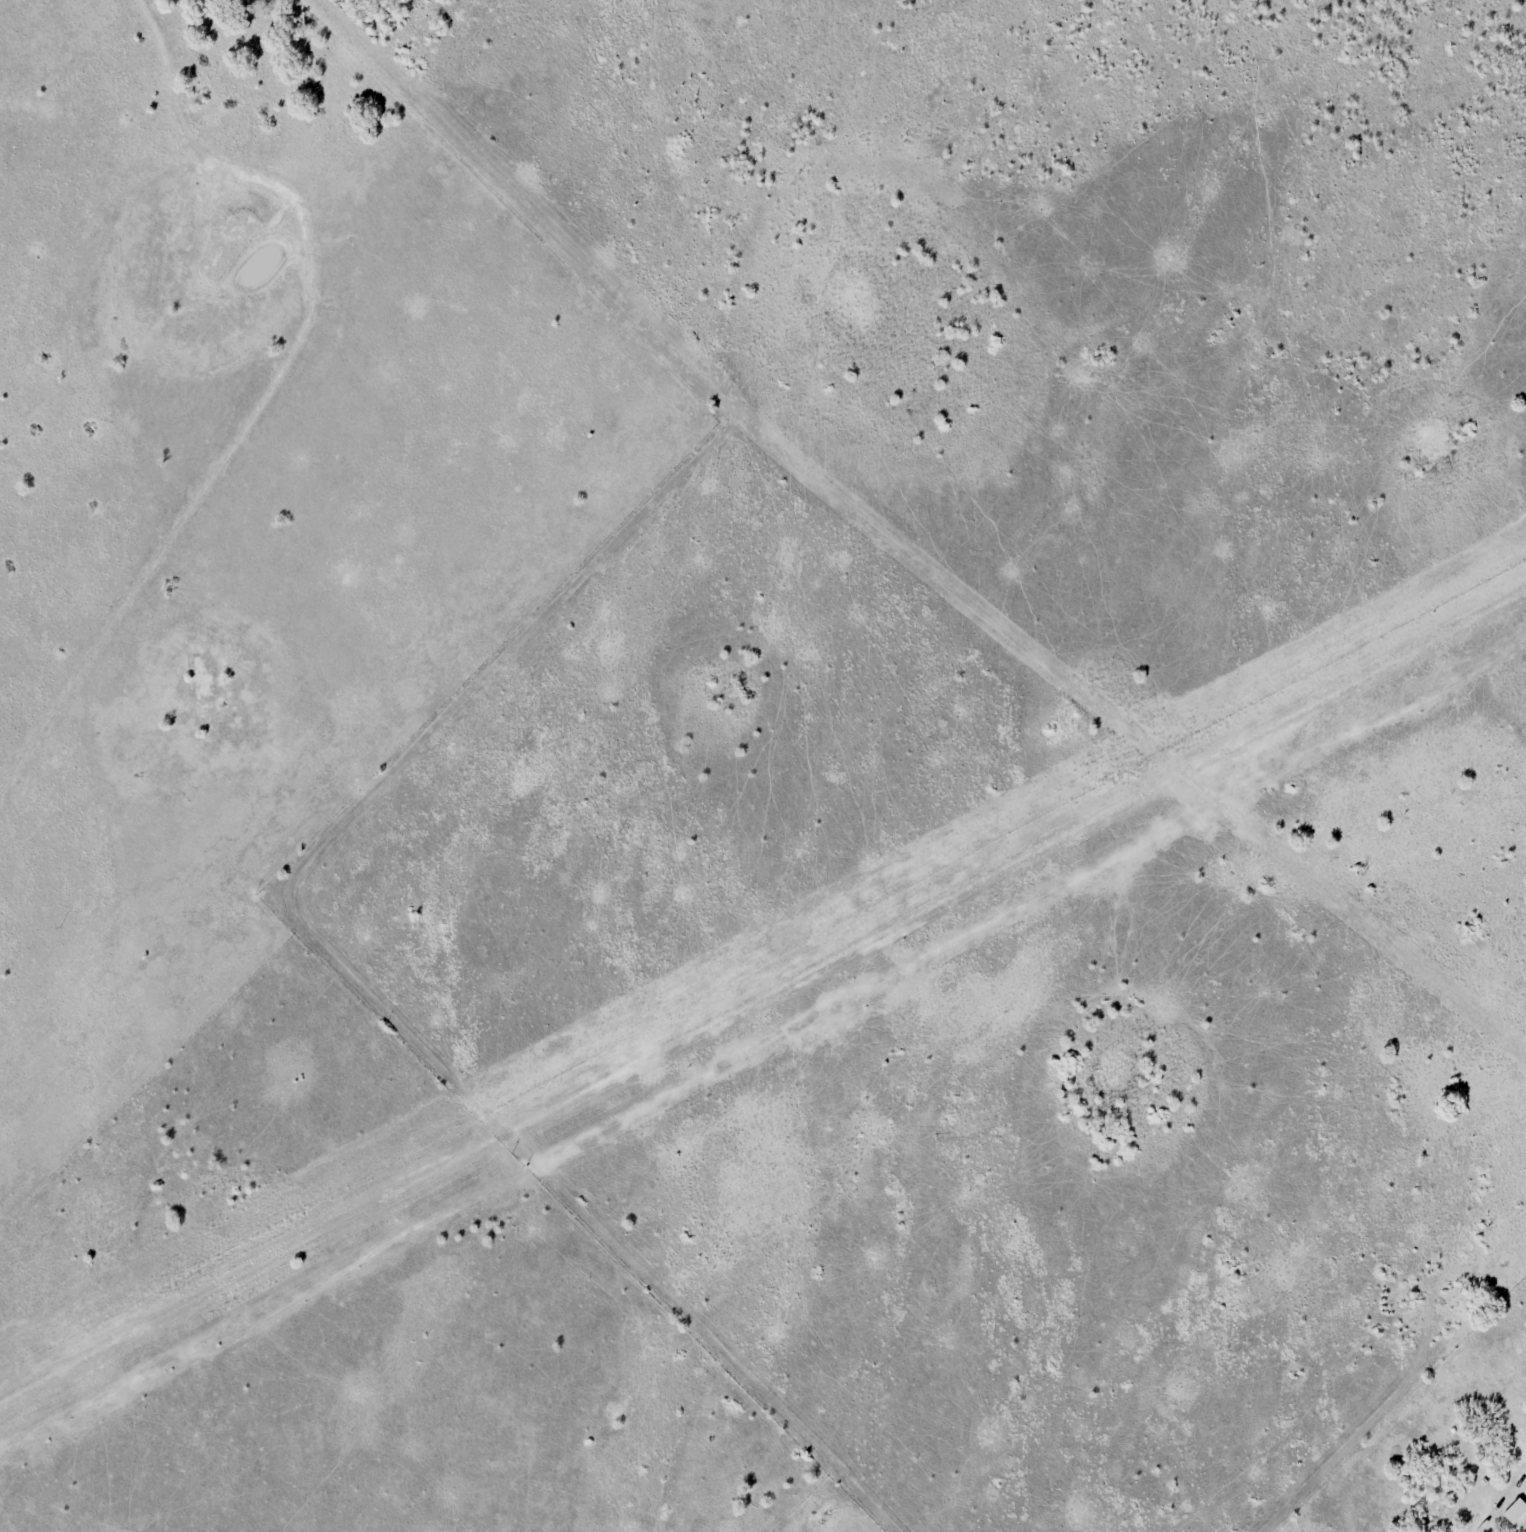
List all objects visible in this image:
road: (1507, 1292)
building: (1514, 1512)

